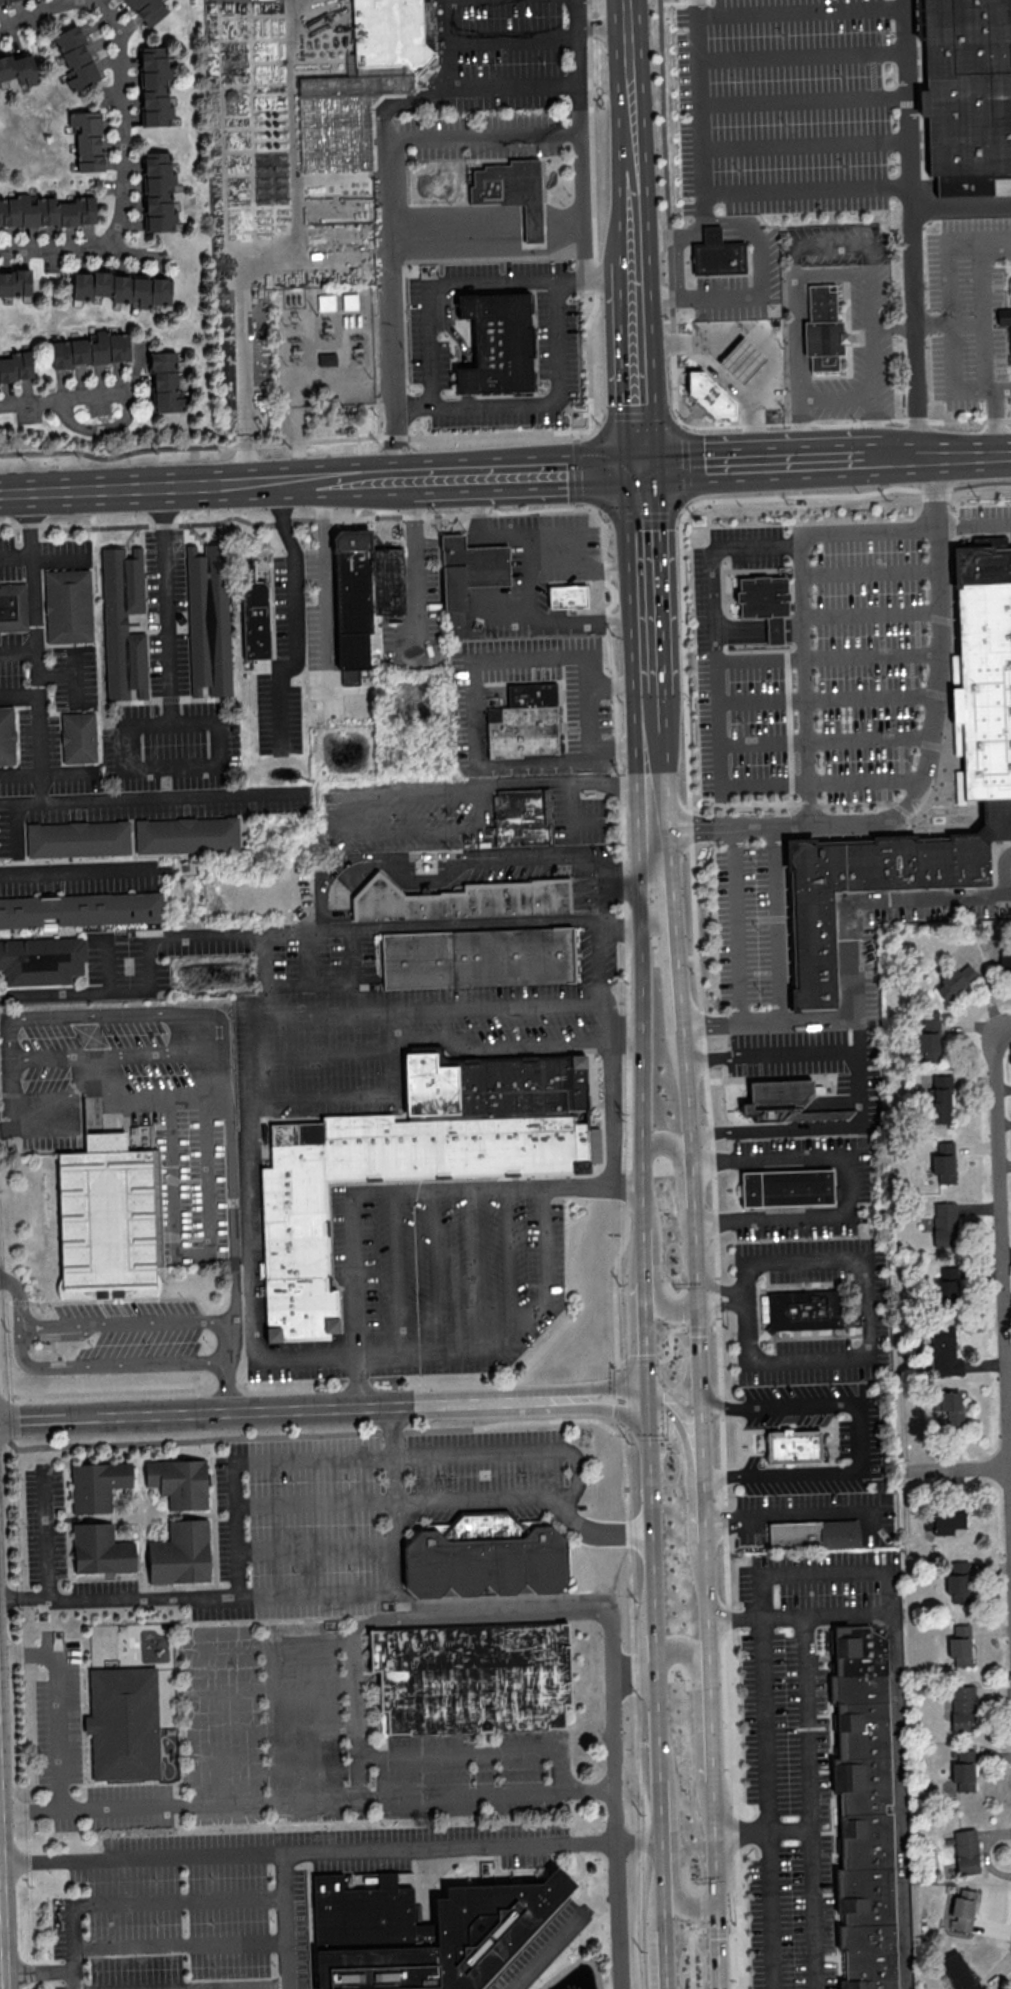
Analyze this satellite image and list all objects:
building: (0, 0)
building: (4, 0)
road: (22, 7)
building: (149, 9)
road: (801, 13)
road: (603, 15)
road: (286, 36)
road: (513, 37)
road: (802, 55)
building: (76, 58)
building: (19, 68)
building: (363, 83)
road: (511, 84)
building: (154, 86)
building: (0, 89)
building: (965, 93)
road: (804, 100)
parking lot: (786, 108)
road: (699, 111)
road: (484, 135)
building: (87, 140)
road: (632, 140)
road: (806, 146)
road: (134, 182)
road: (807, 190)
building: (158, 191)
building: (513, 193)
road: (961, 202)
building: (45, 211)
road: (667, 213)
road: (593, 214)
road: (389, 218)
road: (912, 228)
road: (563, 230)
road: (533, 232)
road: (457, 233)
building: (712, 235)
road: (757, 237)
road: (996, 240)
road: (832, 244)
building: (720, 259)
road: (680, 267)
road: (612, 280)
road: (570, 281)
building: (15, 282)
building: (122, 287)
road: (660, 299)
building: (325, 301)
road: (639, 314)
road: (950, 314)
road: (984, 314)
building: (1002, 317)
road: (241, 319)
road: (950, 324)
road: (795, 326)
building: (824, 329)
road: (759, 341)
power substation: (324, 346)
building: (497, 346)
building: (90, 349)
building: (327, 360)
building: (743, 360)
gas station: (743, 360)
building: (16, 366)
road: (323, 375)
road: (726, 377)
building: (165, 382)
road: (1000, 386)
building: (711, 396)
road: (554, 400)
road: (56, 401)
road: (642, 408)
road: (637, 415)
road: (673, 415)
road: (596, 416)
road: (995, 420)
road: (847, 423)
road: (877, 427)
road: (799, 430)
road: (575, 436)
road: (294, 442)
road: (297, 444)
road: (357, 445)
road: (965, 455)
road: (861, 458)
road: (684, 462)
road: (724, 464)
traffic signals: (645, 468)
road: (576, 470)
road: (561, 471)
road: (417, 476)
road: (274, 482)
road: (95, 489)
road: (799, 492)
building: (800, 501)
road: (688, 503)
road: (577, 504)
road: (641, 515)
road: (603, 516)
road: (679, 516)
road: (287, 520)
road: (646, 529)
road: (905, 529)
road: (567, 530)
road: (43, 554)
road: (415, 555)
road: (588, 568)
parking lot: (535, 571)
road: (870, 572)
building: (470, 574)
road: (531, 580)
building: (387, 584)
road: (324, 586)
building: (567, 599)
building: (353, 601)
building: (766, 604)
building: (67, 605)
road: (166, 605)
building: (13, 606)
road: (649, 606)
road: (504, 610)
road: (872, 613)
building: (254, 614)
road: (297, 615)
building: (208, 619)
parking lot: (422, 622)
building: (122, 623)
road: (715, 623)
road: (793, 628)
road: (776, 629)
road: (742, 630)
road: (17, 650)
road: (828, 656)
road: (651, 664)
road: (35, 666)
parking lot: (305, 666)
road: (54, 673)
building: (985, 673)
road: (73, 676)
road: (804, 678)
road: (618, 684)
road: (18, 695)
parking lot: (813, 698)
road: (827, 699)
parking lot: (480, 703)
building: (524, 723)
road: (214, 724)
building: (7, 735)
road: (477, 735)
building: (78, 737)
road: (825, 740)
road: (621, 750)
road: (927, 761)
road: (62, 772)
road: (821, 781)
road: (546, 784)
road: (656, 786)
road: (166, 797)
road: (571, 811)
road: (343, 815)
parking lot: (577, 815)
building: (522, 816)
parking lot: (398, 817)
road: (587, 818)
building: (186, 834)
building: (77, 838)
road: (455, 865)
road: (72, 872)
road: (1003, 872)
road: (649, 892)
road: (603, 893)
building: (462, 899)
road: (871, 900)
building: (81, 909)
road: (621, 920)
road: (778, 923)
road: (736, 924)
road: (375, 928)
building: (478, 956)
building: (41, 959)
road: (667, 960)
road: (106, 961)
building: (1005, 962)
parking lot: (317, 967)
road: (600, 978)
building: (954, 981)
road: (97, 987)
road: (393, 1007)
road: (76, 1018)
road: (444, 1021)
road: (766, 1022)
parking lot: (412, 1031)
building: (929, 1036)
road: (498, 1051)
road: (120, 1052)
road: (321, 1052)
parking lot: (808, 1056)
road: (95, 1069)
road: (227, 1070)
road: (705, 1083)
road: (866, 1087)
road: (116, 1091)
road: (364, 1096)
road: (612, 1097)
building: (775, 1097)
building: (938, 1099)
road: (8, 1126)
parking lot: (806, 1155)
building: (943, 1162)
building: (410, 1164)
road: (680, 1168)
road: (846, 1186)
building: (788, 1187)
road: (626, 1189)
road: (377, 1196)
road: (232, 1206)
building: (110, 1220)
building: (944, 1224)
road: (254, 1233)
road: (627, 1238)
road: (191, 1252)
road: (510, 1260)
road: (745, 1260)
road: (657, 1264)
road: (473, 1272)
road: (1003, 1272)
road: (435, 1274)
road: (395, 1276)
parking lot: (434, 1280)
building: (946, 1285)
road: (720, 1289)
road: (22, 1298)
road: (721, 1305)
building: (804, 1310)
parking lot: (876, 1314)
road: (126, 1325)
parking lot: (131, 1333)
road: (507, 1334)
road: (228, 1342)
road: (671, 1346)
building: (944, 1351)
road: (108, 1370)
road: (230, 1389)
road: (67, 1391)
building: (948, 1405)
road: (722, 1407)
road: (323, 1410)
road: (702, 1425)
parking lot: (859, 1441)
road: (860, 1441)
building: (792, 1446)
road: (648, 1454)
road: (368, 1456)
road: (957, 1470)
road: (689, 1473)
road: (720, 1477)
building: (179, 1481)
building: (96, 1484)
road: (314, 1502)
parking lot: (818, 1512)
road: (797, 1514)
building: (943, 1521)
road: (598, 1529)
building: (793, 1533)
building: (838, 1533)
road: (43, 1537)
building: (99, 1547)
road: (316, 1547)
building: (180, 1553)
building: (483, 1554)
road: (826, 1571)
building: (958, 1581)
road: (118, 1598)
road: (516, 1617)
road: (827, 1617)
road: (734, 1620)
parking lot: (346, 1637)
building: (960, 1645)
road: (220, 1659)
road: (359, 1661)
building: (475, 1678)
road: (633, 1678)
road: (290, 1684)
road: (57, 1703)
building: (962, 1708)
road: (697, 1710)
building: (122, 1722)
road: (764, 1726)
road: (292, 1727)
parking lot: (796, 1745)
road: (481, 1748)
building: (963, 1770)
road: (293, 1774)
road: (488, 1796)
road: (613, 1801)
road: (901, 1801)
road: (811, 1803)
road: (94, 1808)
building: (863, 1809)
road: (790, 1831)
road: (741, 1832)
road: (673, 1846)
road: (307, 1851)
building: (965, 1851)
parking lot: (237, 1898)
traffic signals: (717, 1898)
road: (144, 1900)
road: (769, 1910)
building: (962, 1910)
road: (285, 1920)
road: (1, 1925)
building: (422, 1931)
road: (692, 1935)
road: (180, 1944)
parking lot: (540, 1947)
road: (547, 1949)
road: (38, 1971)
building: (958, 1971)
road: (74, 1979)
road: (234, 1987)

